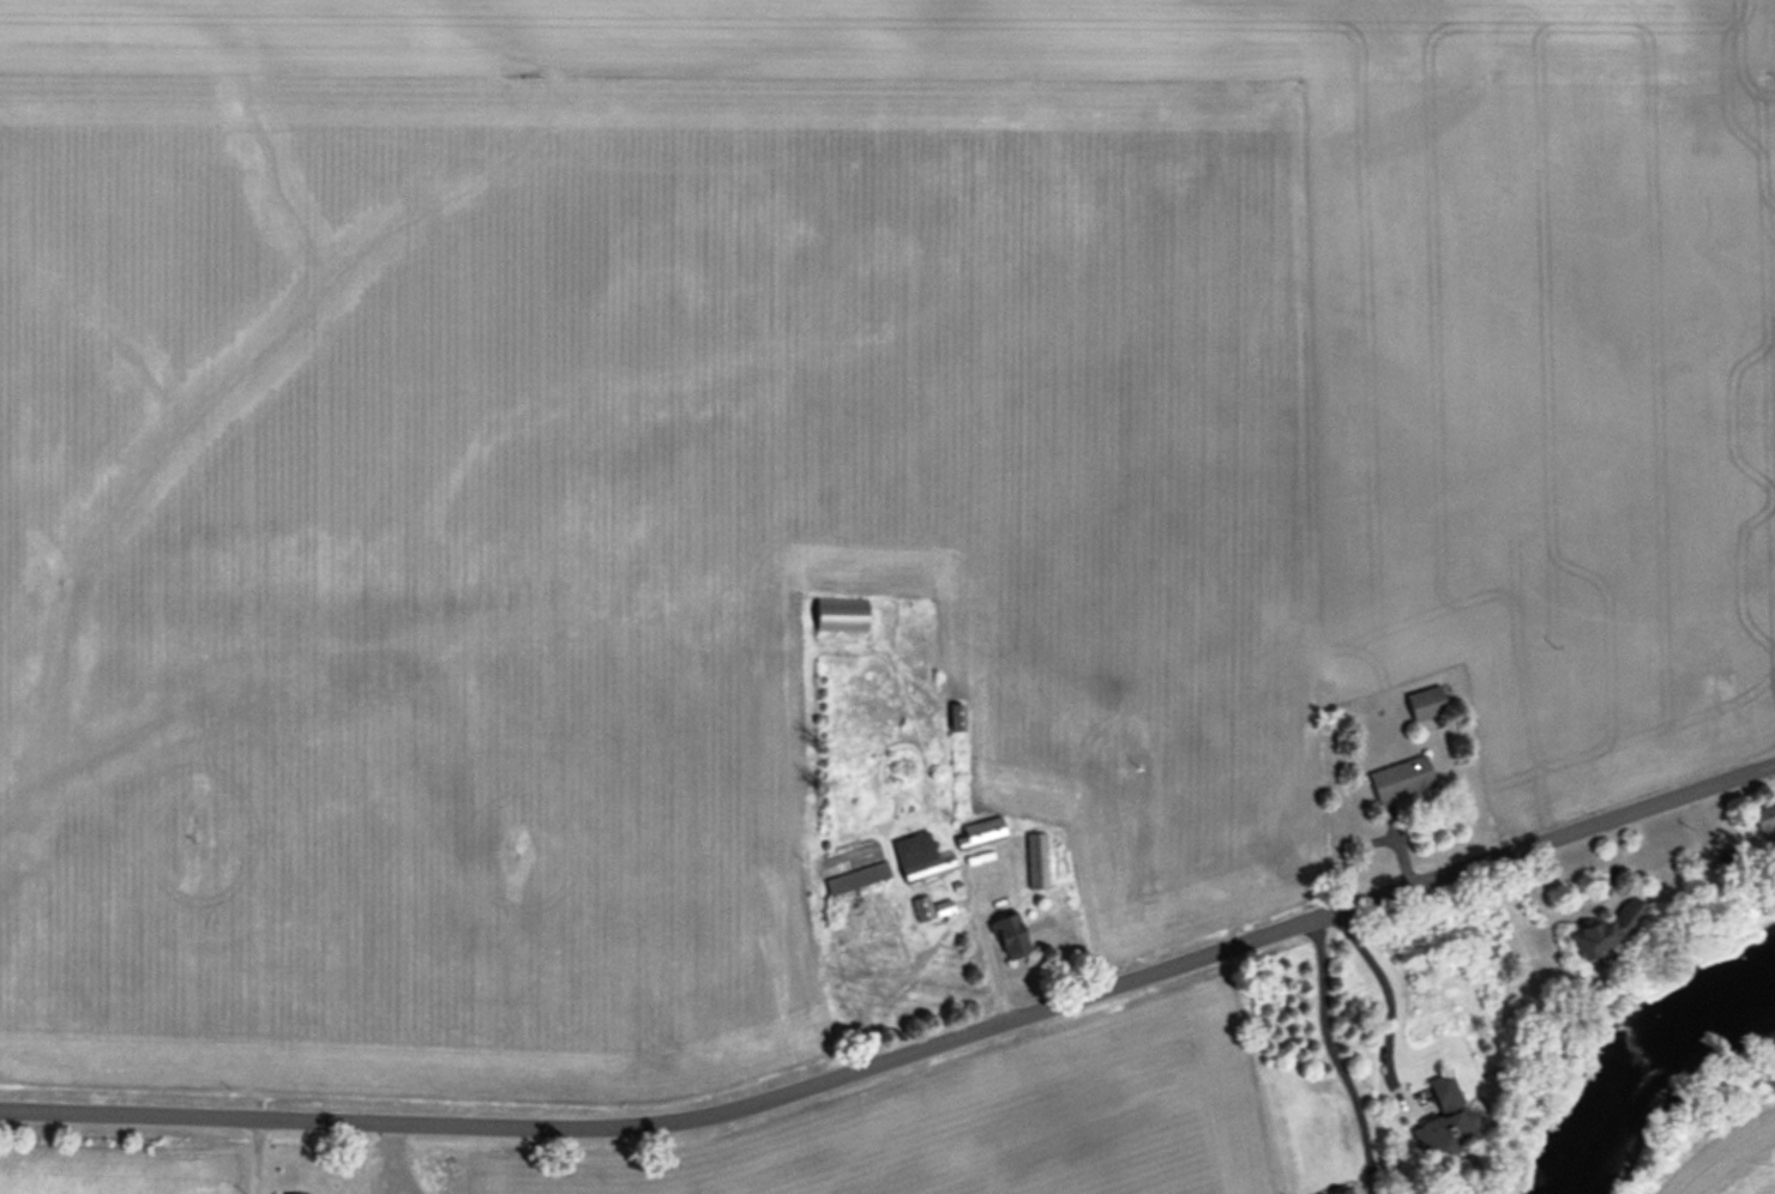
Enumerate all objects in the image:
building: (842, 613)
building: (1430, 705)
building: (958, 716)
building: (1402, 778)
building: (1767, 821)
building: (982, 832)
building: (919, 854)
building: (1037, 858)
building: (859, 876)
building: (932, 906)
building: (1607, 928)
building: (1011, 935)
building: (865, 957)
road: (1395, 1003)
road: (1336, 1048)
road: (904, 1061)
river: (1655, 1072)
building: (1444, 1117)
building: (1344, 1192)
building: (275, 1193)

